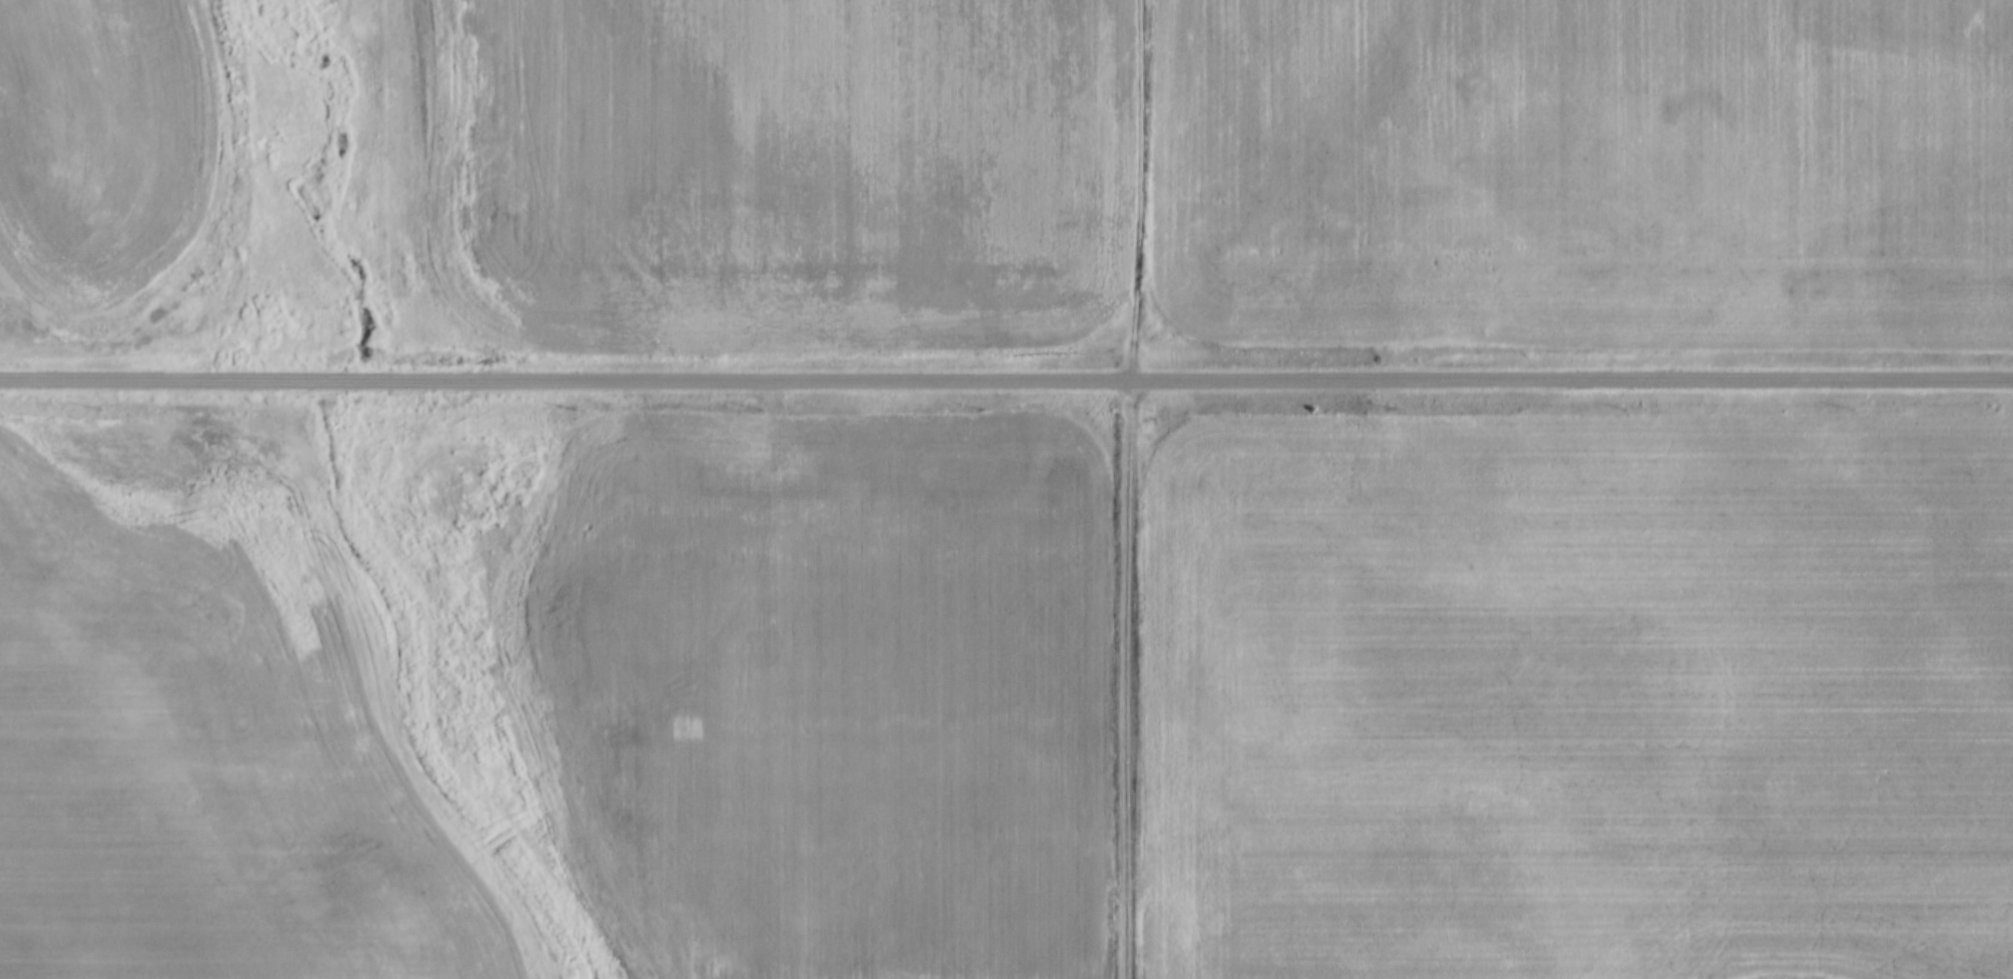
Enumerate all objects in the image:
road: (1006, 381)
road: (1127, 489)

